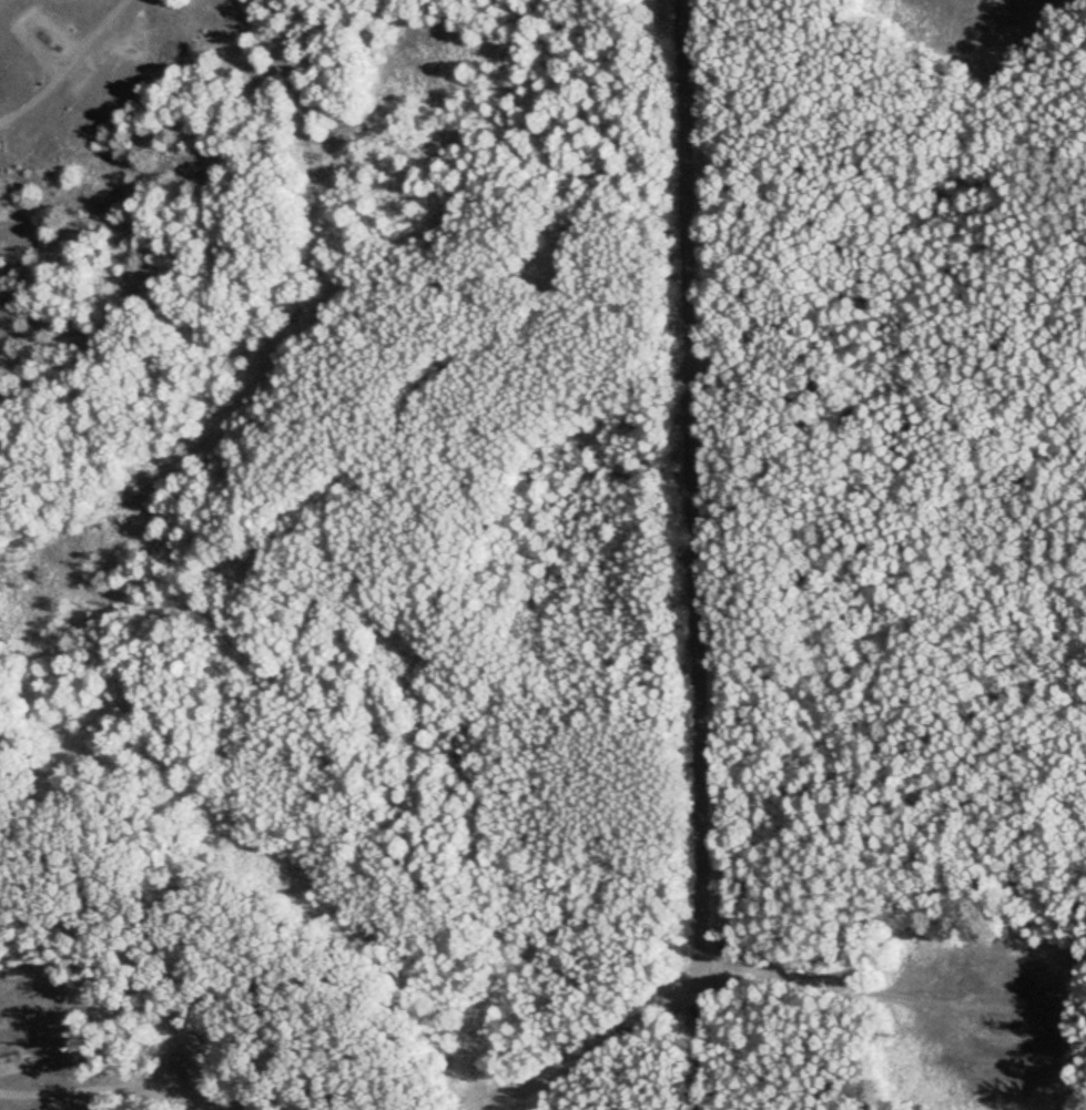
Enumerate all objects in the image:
petroleum well: (43, 34)
road: (81, 74)
road: (696, 554)
road: (677, 980)
petroleum well: (1004, 1026)
road: (109, 1093)

